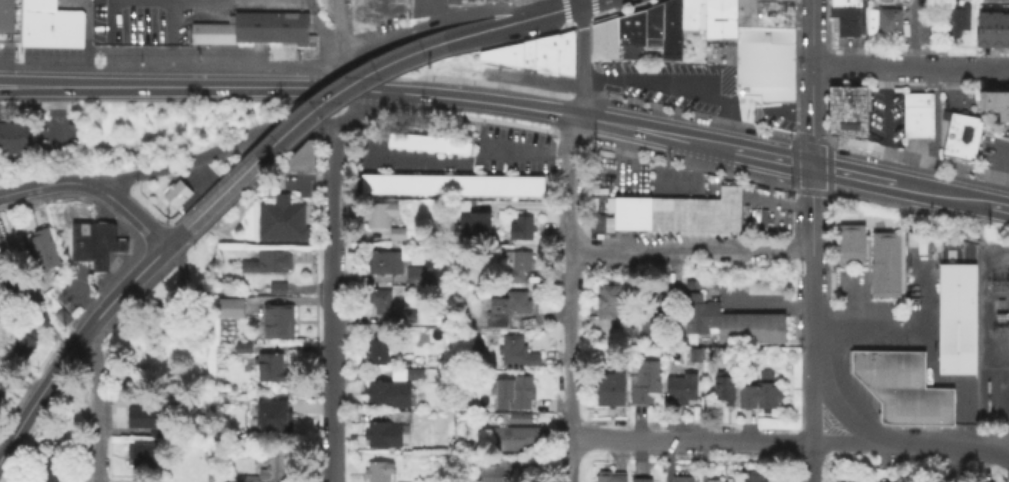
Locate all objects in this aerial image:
building: (763, 0)
building: (781, 0)
building: (980, 0)
building: (993, 0)
building: (452, 1)
building: (468, 1)
building: (496, 1)
building: (1004, 1)
road: (577, 3)
road: (587, 3)
building: (846, 4)
building: (36, 5)
parking lot: (423, 7)
road: (431, 12)
road: (554, 13)
building: (744, 13)
building: (691, 14)
building: (772, 14)
building: (5, 17)
building: (882, 19)
building: (710, 20)
building: (726, 20)
building: (957, 21)
building: (848, 22)
road: (434, 24)
building: (652, 26)
building: (50, 29)
road: (490, 29)
road: (342, 30)
building: (670, 30)
building: (982, 31)
building: (996, 31)
building: (255, 32)
building: (1006, 32)
building: (629, 36)
road: (914, 38)
building: (609, 40)
road: (581, 42)
building: (595, 42)
building: (564, 44)
building: (544, 46)
building: (501, 53)
building: (526, 55)
building: (506, 62)
building: (543, 64)
building: (563, 66)
road: (910, 66)
building: (761, 69)
road: (330, 74)
parking lot: (523, 80)
parking lot: (673, 82)
road: (810, 82)
road: (662, 84)
road: (158, 87)
road: (350, 89)
road: (582, 98)
road: (480, 102)
building: (984, 103)
building: (993, 103)
building: (1003, 108)
road: (360, 111)
building: (847, 112)
road: (304, 113)
road: (729, 113)
road: (744, 114)
road: (780, 114)
road: (54, 116)
building: (917, 117)
road: (886, 124)
road: (1006, 128)
road: (721, 129)
road: (655, 132)
building: (12, 137)
building: (392, 137)
building: (960, 137)
building: (402, 138)
building: (413, 139)
building: (423, 140)
building: (434, 142)
building: (445, 143)
road: (133, 146)
building: (459, 146)
road: (293, 147)
road: (216, 151)
building: (300, 156)
road: (770, 156)
road: (455, 164)
traffic signals: (809, 165)
road: (850, 174)
road: (994, 174)
road: (202, 182)
road: (309, 182)
building: (368, 182)
building: (384, 182)
building: (401, 182)
building: (418, 183)
building: (434, 183)
building: (451, 183)
building: (467, 183)
building: (484, 183)
building: (500, 183)
road: (333, 184)
building: (517, 184)
building: (533, 184)
road: (50, 185)
building: (175, 192)
road: (941, 194)
road: (521, 203)
road: (999, 207)
building: (708, 209)
building: (659, 212)
building: (379, 213)
building: (627, 213)
road: (132, 217)
building: (281, 218)
building: (473, 223)
building: (520, 226)
building: (395, 232)
road: (809, 233)
road: (173, 236)
building: (848, 242)
building: (92, 245)
building: (41, 248)
park: (947, 250)
road: (690, 253)
building: (266, 261)
building: (384, 261)
building: (884, 262)
building: (514, 264)
road: (333, 268)
road: (155, 269)
building: (414, 272)
road: (365, 277)
building: (688, 282)
building: (275, 286)
building: (763, 287)
road: (175, 294)
road: (570, 299)
building: (606, 301)
road: (767, 302)
road: (852, 302)
building: (1002, 303)
building: (228, 305)
building: (389, 307)
building: (504, 307)
building: (196, 308)
building: (649, 311)
building: (39, 313)
building: (61, 316)
building: (955, 318)
building: (276, 319)
building: (727, 322)
road: (866, 325)
power substation: (992, 332)
building: (22, 342)
road: (72, 342)
building: (241, 346)
building: (479, 346)
road: (929, 348)
building: (376, 349)
building: (514, 350)
building: (690, 353)
building: (407, 361)
building: (269, 366)
building: (886, 366)
road: (811, 371)
building: (3, 379)
building: (644, 380)
building: (679, 386)
building: (391, 387)
building: (608, 387)
building: (723, 387)
road: (331, 388)
building: (510, 390)
building: (766, 391)
building: (746, 398)
building: (168, 402)
road: (96, 404)
building: (913, 404)
road: (840, 412)
building: (143, 415)
building: (270, 415)
building: (399, 415)
building: (518, 416)
building: (383, 432)
building: (516, 436)
road: (728, 440)
road: (930, 443)
road: (992, 444)
road: (992, 450)
building: (139, 453)
road: (811, 461)
building: (268, 466)
building: (46, 470)
building: (376, 470)
building: (498, 472)
building: (608, 475)
building: (753, 477)
building: (681, 478)
building: (640, 479)
building: (713, 479)
building: (849, 481)
building: (889, 481)

